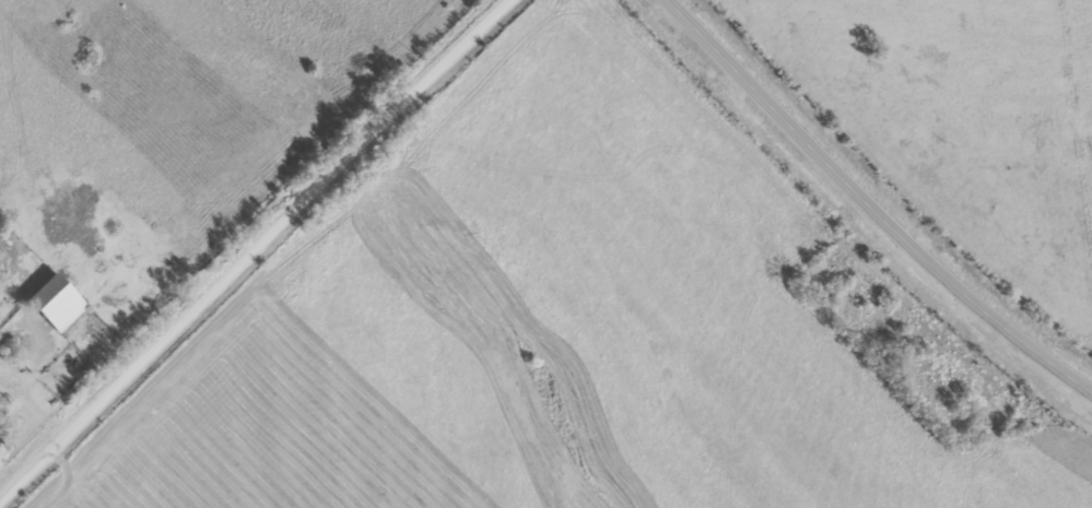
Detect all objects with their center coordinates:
road: (869, 208)
road: (255, 247)
building: (52, 305)

